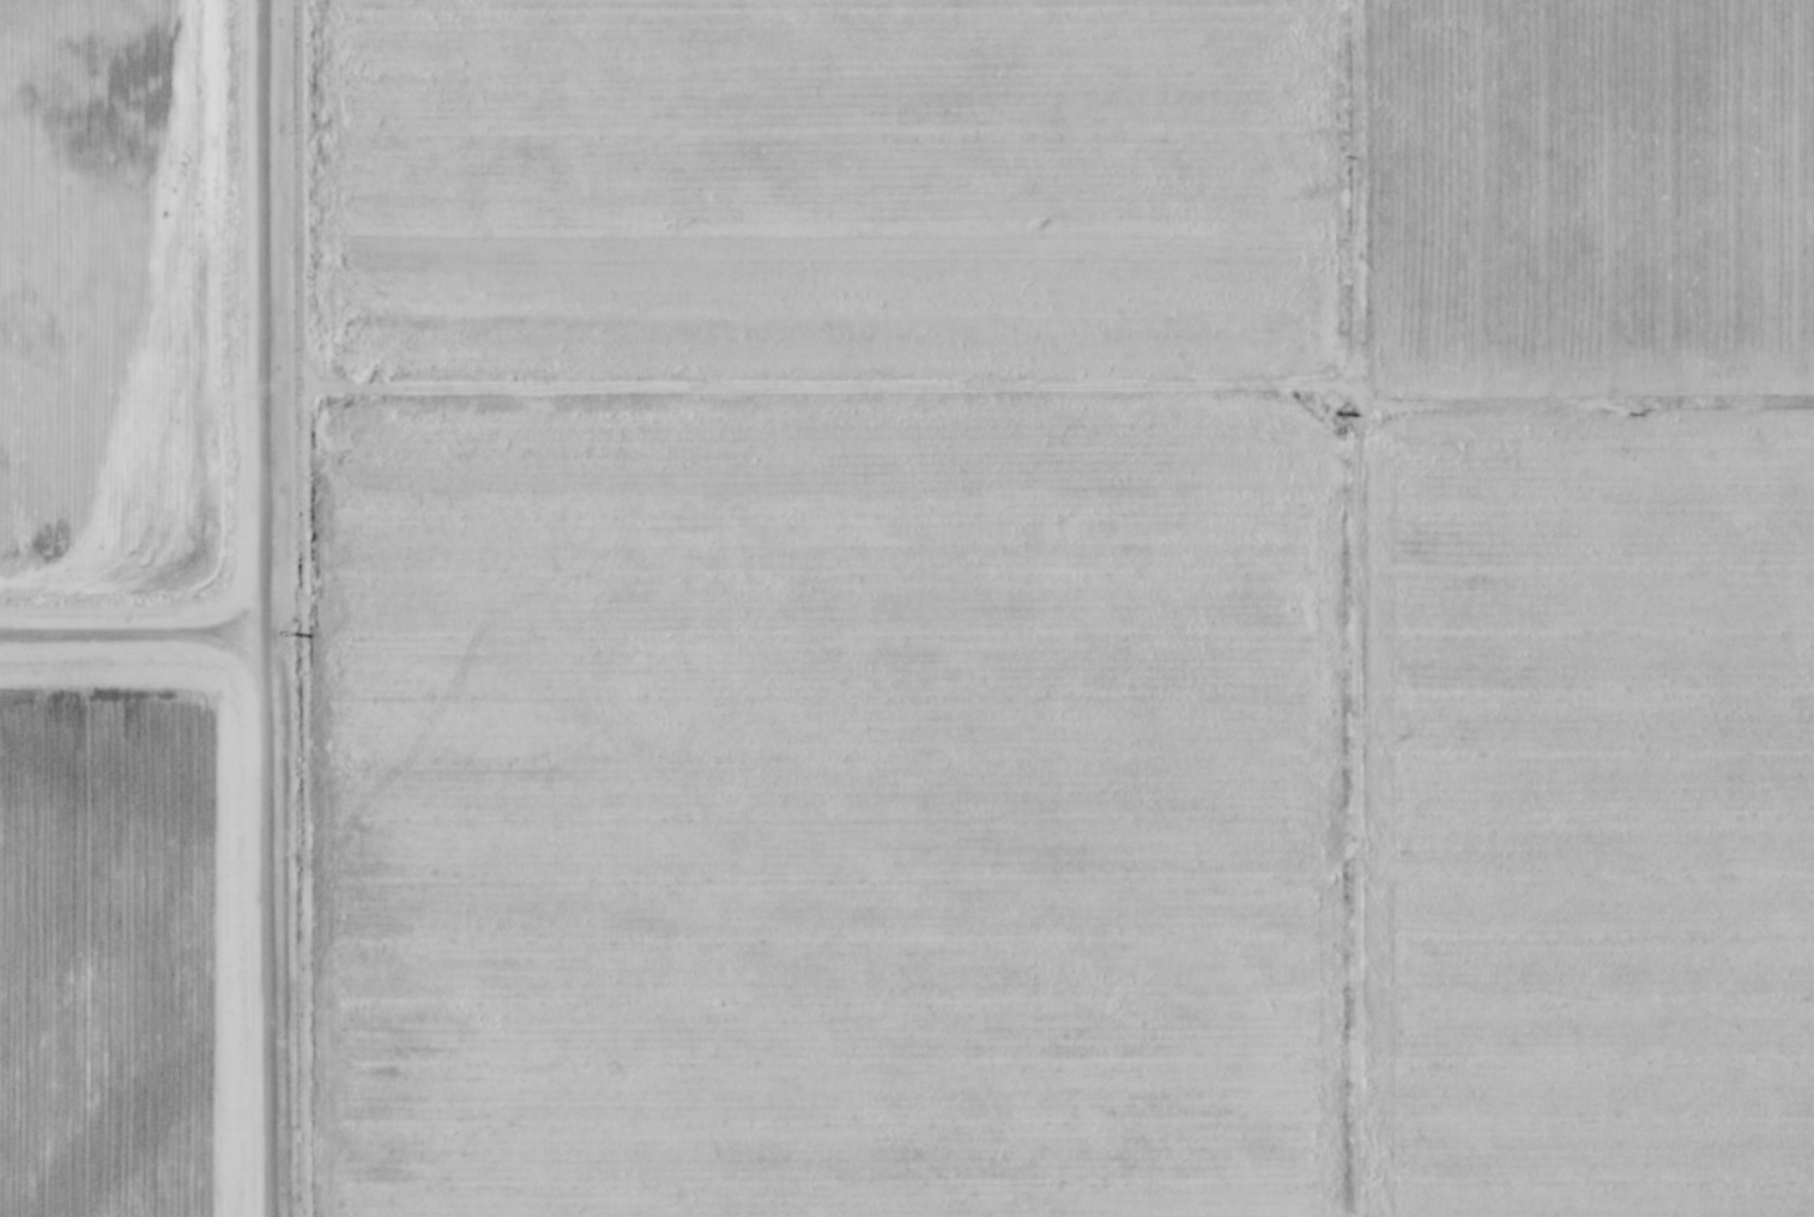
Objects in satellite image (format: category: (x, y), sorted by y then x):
wastewater plant: (117, 293)
crop: (1064, 607)
road: (265, 608)
wastewater plant: (158, 610)
road: (132, 619)
wastewater plant: (111, 946)

